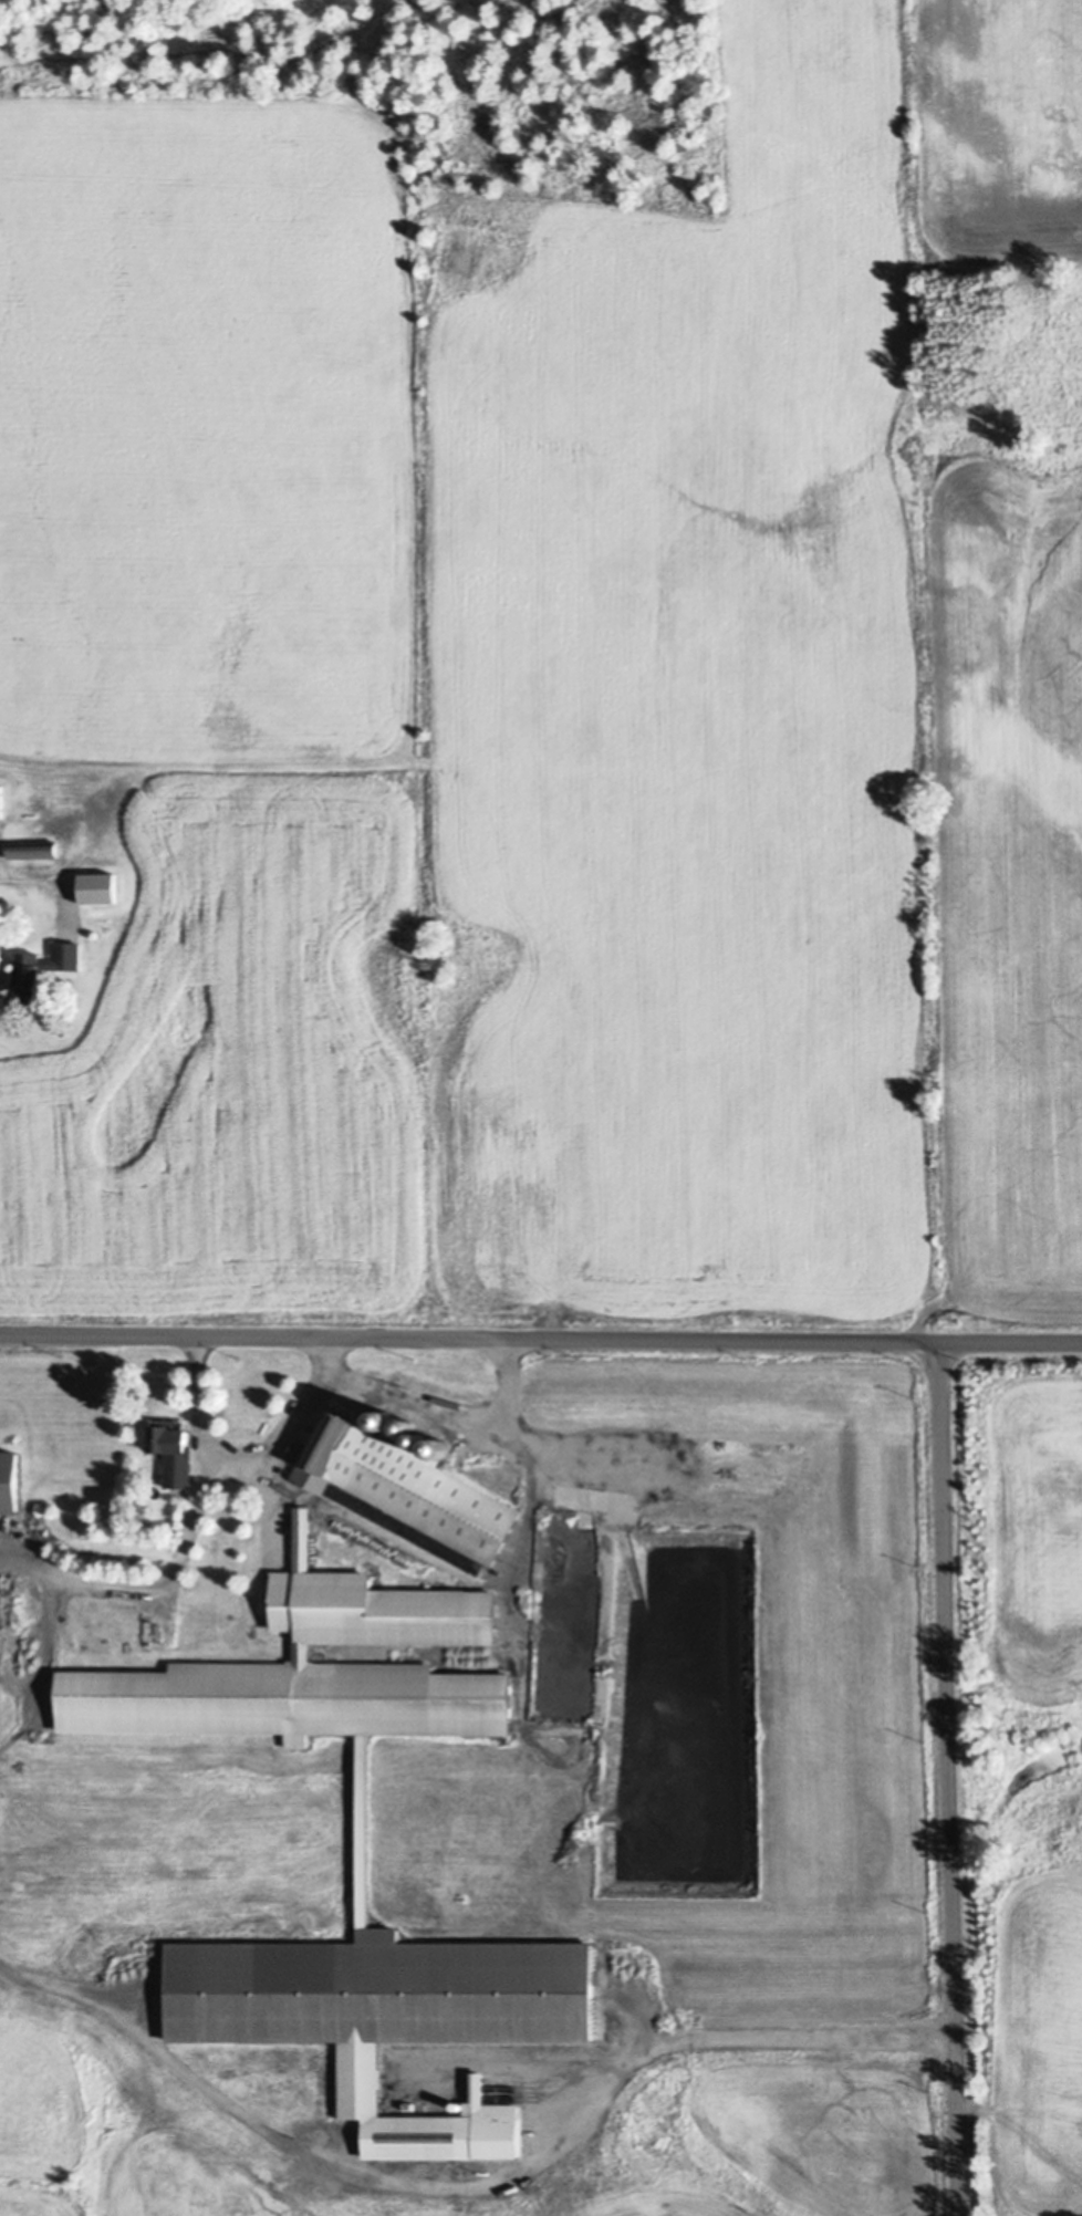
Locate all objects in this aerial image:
building: (1, 802)
road: (41, 876)
building: (97, 888)
building: (29, 977)
road: (540, 1340)
road: (422, 1406)
road: (223, 1456)
building: (174, 1457)
building: (407, 1492)
road: (149, 1580)
building: (312, 1664)
road: (945, 1780)
road: (471, 2187)

